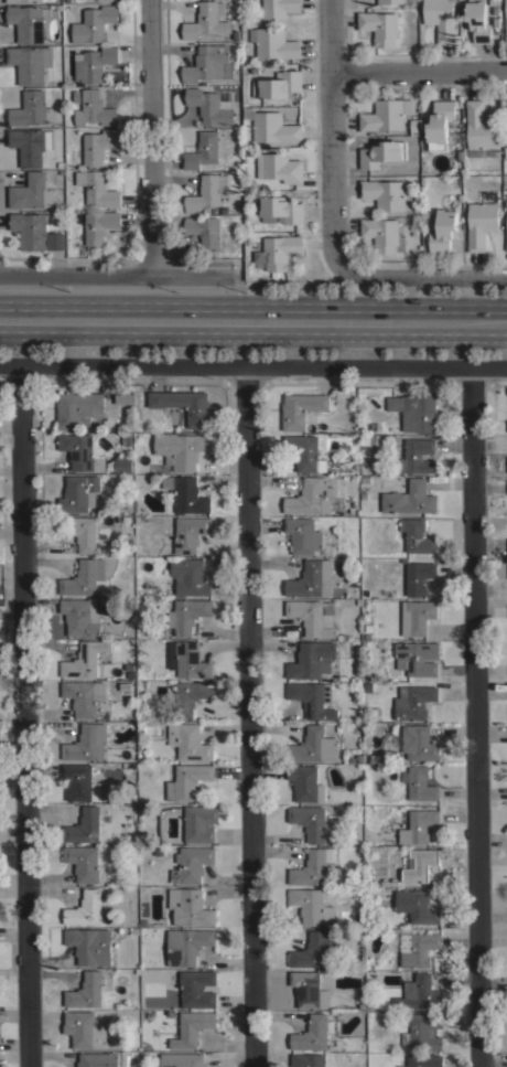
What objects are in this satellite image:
building: (22, 0)
building: (109, 0)
building: (390, 0)
building: (495, 2)
building: (277, 8)
building: (441, 19)
building: (206, 20)
building: (478, 20)
building: (29, 21)
building: (94, 22)
building: (506, 22)
building: (380, 26)
building: (274, 43)
building: (30, 62)
building: (207, 62)
building: (94, 63)
road: (419, 72)
building: (278, 84)
building: (211, 106)
building: (94, 108)
building: (31, 109)
building: (385, 115)
road: (331, 124)
building: (440, 124)
building: (481, 126)
building: (274, 127)
road: (152, 137)
building: (30, 145)
building: (98, 145)
building: (203, 150)
building: (381, 152)
building: (279, 167)
building: (97, 188)
building: (29, 191)
building: (206, 193)
building: (386, 193)
building: (279, 209)
building: (482, 223)
building: (99, 225)
building: (31, 228)
building: (204, 230)
building: (443, 230)
building: (381, 233)
building: (55, 241)
building: (506, 246)
building: (279, 250)
road: (117, 275)
road: (413, 275)
road: (253, 323)
road: (252, 365)
building: (123, 398)
building: (184, 404)
building: (77, 408)
building: (301, 408)
building: (414, 410)
building: (374, 426)
building: (125, 438)
building: (373, 439)
building: (181, 449)
building: (83, 451)
building: (304, 451)
building: (417, 456)
building: (120, 465)
building: (364, 479)
building: (79, 493)
building: (186, 493)
building: (363, 495)
building: (310, 497)
building: (409, 498)
building: (80, 531)
building: (303, 534)
building: (129, 535)
building: (186, 535)
building: (417, 535)
building: (190, 576)
building: (84, 577)
building: (312, 578)
building: (417, 578)
building: (187, 615)
building: (313, 616)
building: (417, 616)
building: (80, 617)
building: (367, 627)
building: (367, 636)
building: (417, 658)
building: (85, 659)
building: (312, 659)
building: (187, 660)
building: (123, 686)
building: (367, 687)
building: (84, 696)
building: (191, 696)
building: (313, 698)
building: (414, 702)
road: (25, 715)
road: (256, 716)
road: (473, 717)
building: (188, 740)
building: (87, 743)
building: (418, 743)
building: (314, 746)
building: (373, 757)
building: (355, 758)
building: (186, 781)
building: (80, 782)
building: (305, 782)
building: (420, 783)
building: (311, 821)
building: (201, 823)
building: (84, 825)
building: (419, 825)
building: (158, 851)
building: (85, 864)
building: (192, 864)
building: (420, 864)
building: (314, 866)
building: (384, 883)
building: (393, 883)
building: (417, 905)
building: (312, 906)
building: (190, 907)
building: (85, 908)
building: (142, 921)
building: (134, 930)
building: (89, 945)
building: (185, 945)
building: (418, 948)
building: (315, 949)
building: (197, 989)
building: (309, 989)
building: (86, 991)
building: (419, 992)
building: (362, 1005)
building: (84, 1028)
building: (192, 1028)
building: (423, 1032)
building: (314, 1033)
building: (97, 1059)
building: (182, 1059)
building: (309, 1060)
building: (425, 1060)

